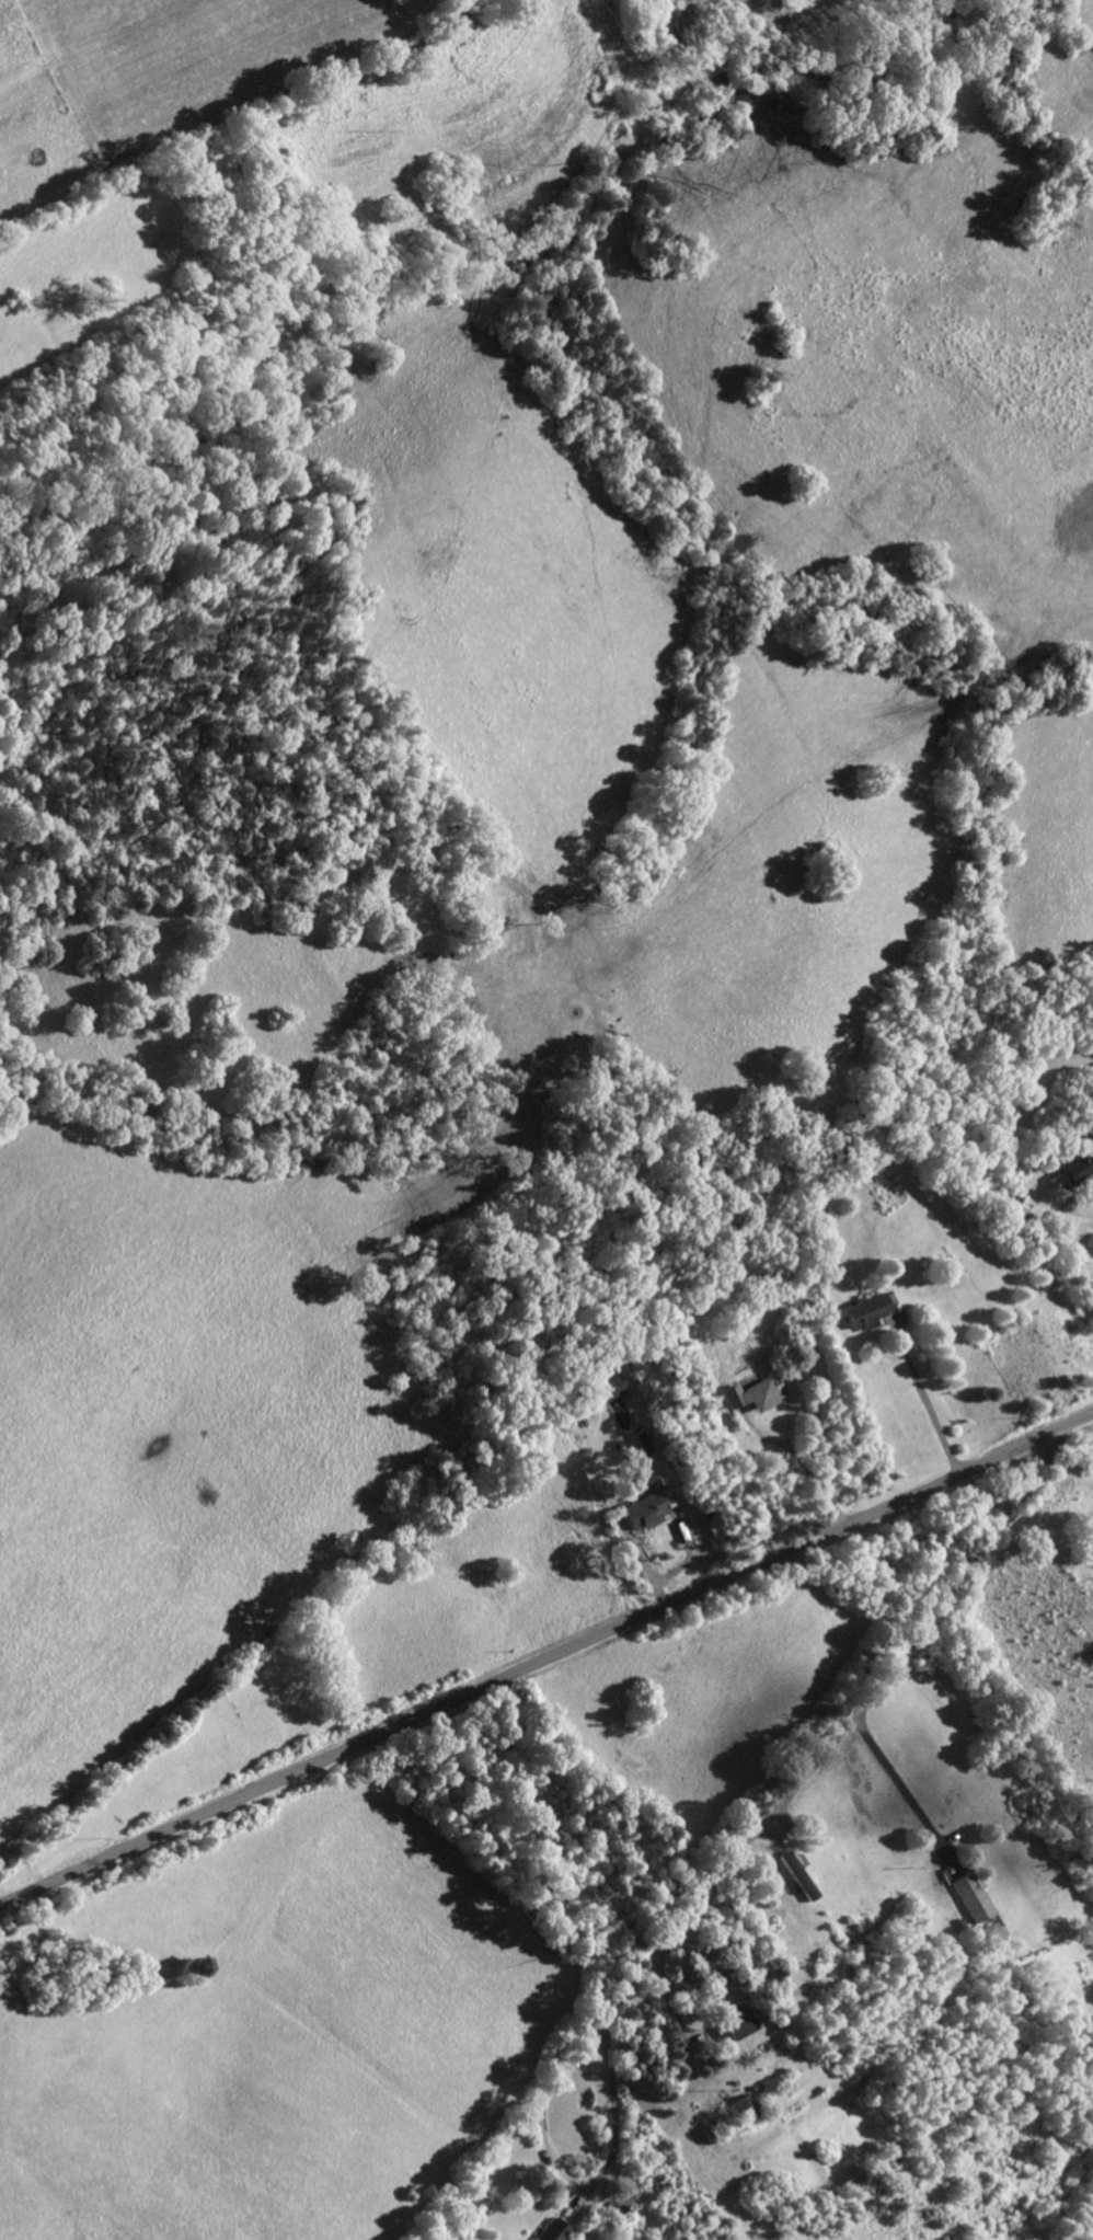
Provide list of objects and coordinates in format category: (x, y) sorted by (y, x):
building: (1075, 1163)
building: (1012, 1208)
road: (1082, 1210)
building: (865, 1310)
building: (611, 1387)
building: (753, 1393)
road: (925, 1395)
building: (648, 1508)
road: (682, 1563)
road: (545, 1661)
road: (904, 1791)
road: (747, 1837)
building: (797, 1873)
building: (970, 1895)
building: (739, 2021)
building: (748, 2105)
road: (610, 2155)
building: (619, 2202)
building: (553, 2230)

